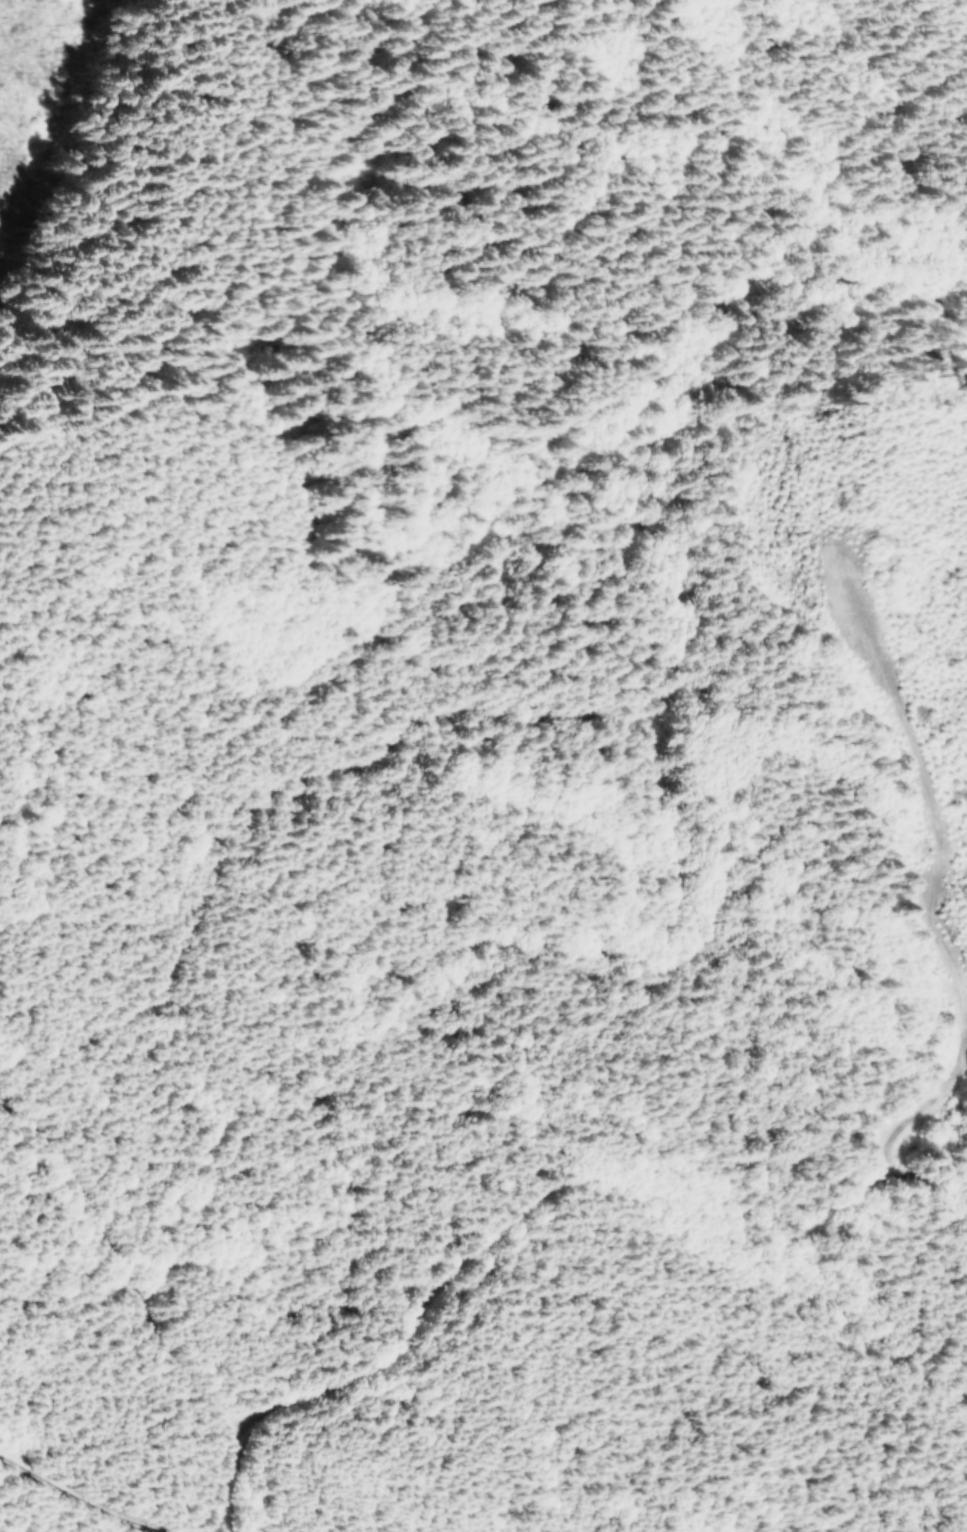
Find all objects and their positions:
road: (133, 568)
road: (202, 1438)

